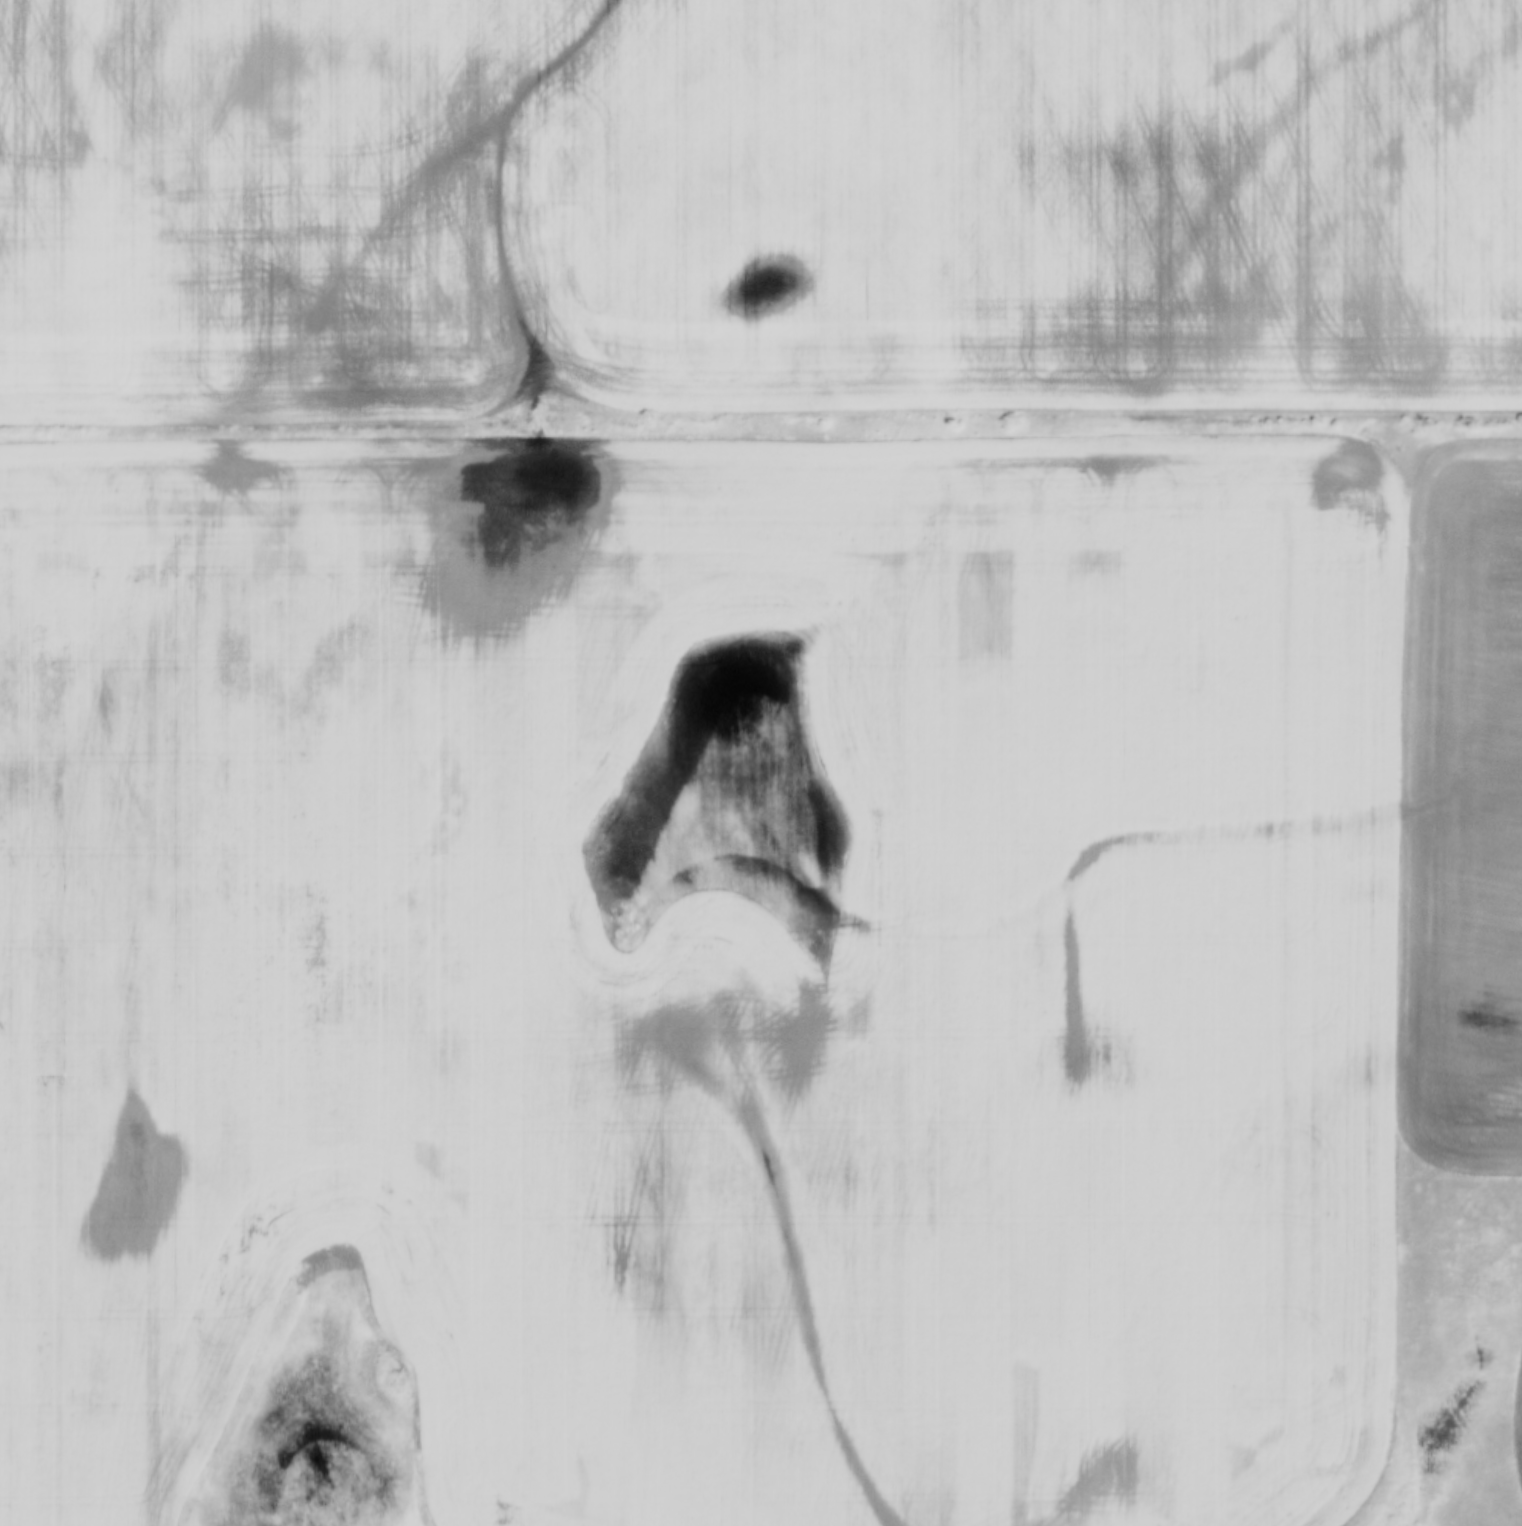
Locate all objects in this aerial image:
crop: (758, 206)

